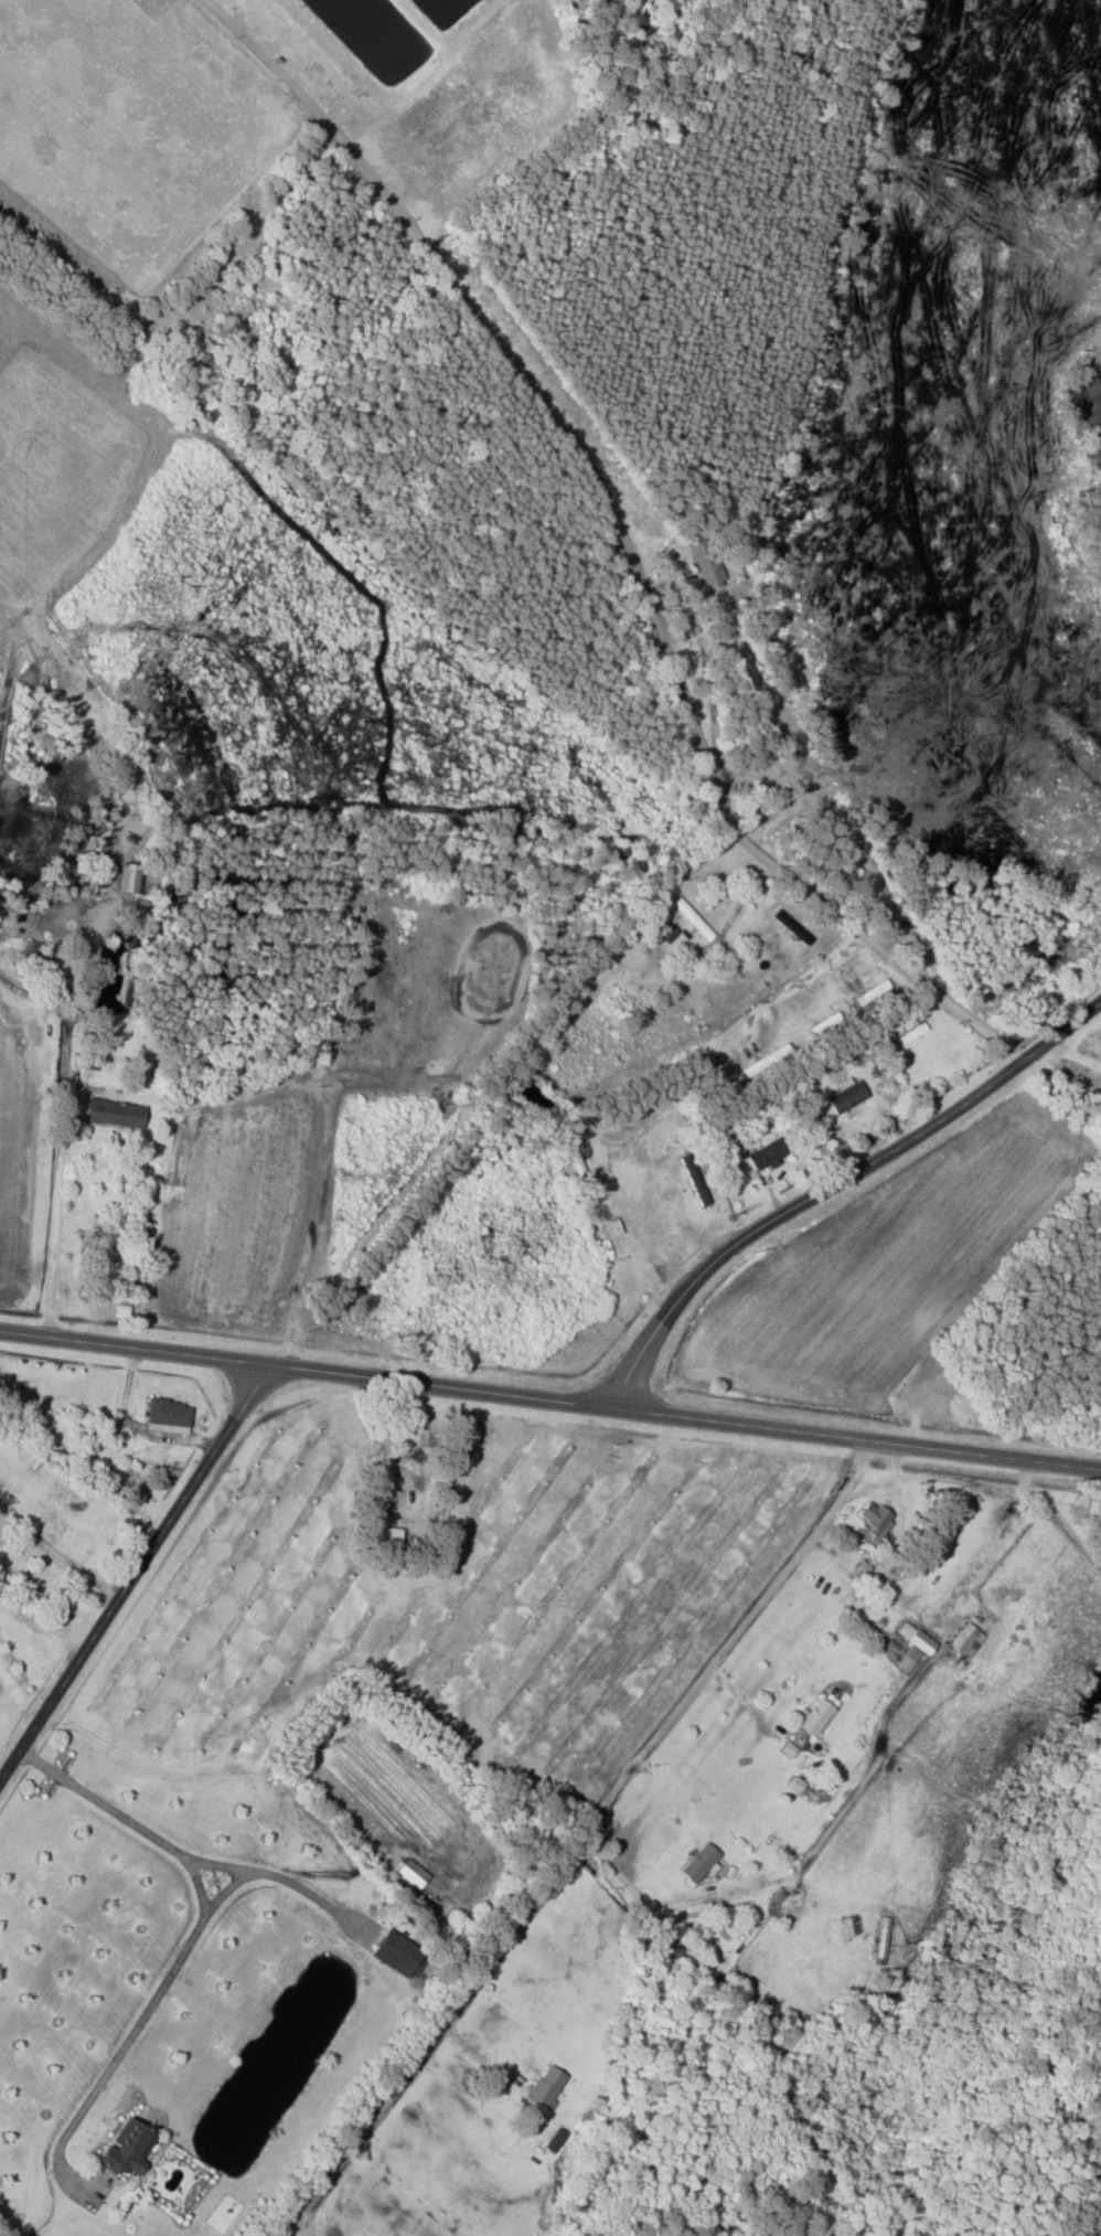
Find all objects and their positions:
building: (239, 318)
road: (621, 536)
building: (705, 557)
building: (128, 876)
building: (873, 992)
building: (910, 1035)
building: (767, 1061)
building: (847, 1096)
building: (115, 1114)
building: (768, 1154)
building: (577, 1169)
road: (836, 1182)
road: (130, 1349)
road: (681, 1415)
building: (169, 1416)
building: (413, 1467)
building: (136, 1483)
road: (1055, 1518)
building: (876, 1519)
building: (387, 1537)
road: (130, 1567)
road: (877, 1586)
building: (58, 1615)
building: (968, 1641)
building: (915, 1646)
building: (817, 1717)
building: (701, 1863)
road: (665, 1904)
building: (883, 1938)
road: (190, 1940)
building: (674, 1948)
building: (397, 1953)
road: (440, 2032)
building: (556, 2141)
building: (128, 2148)

